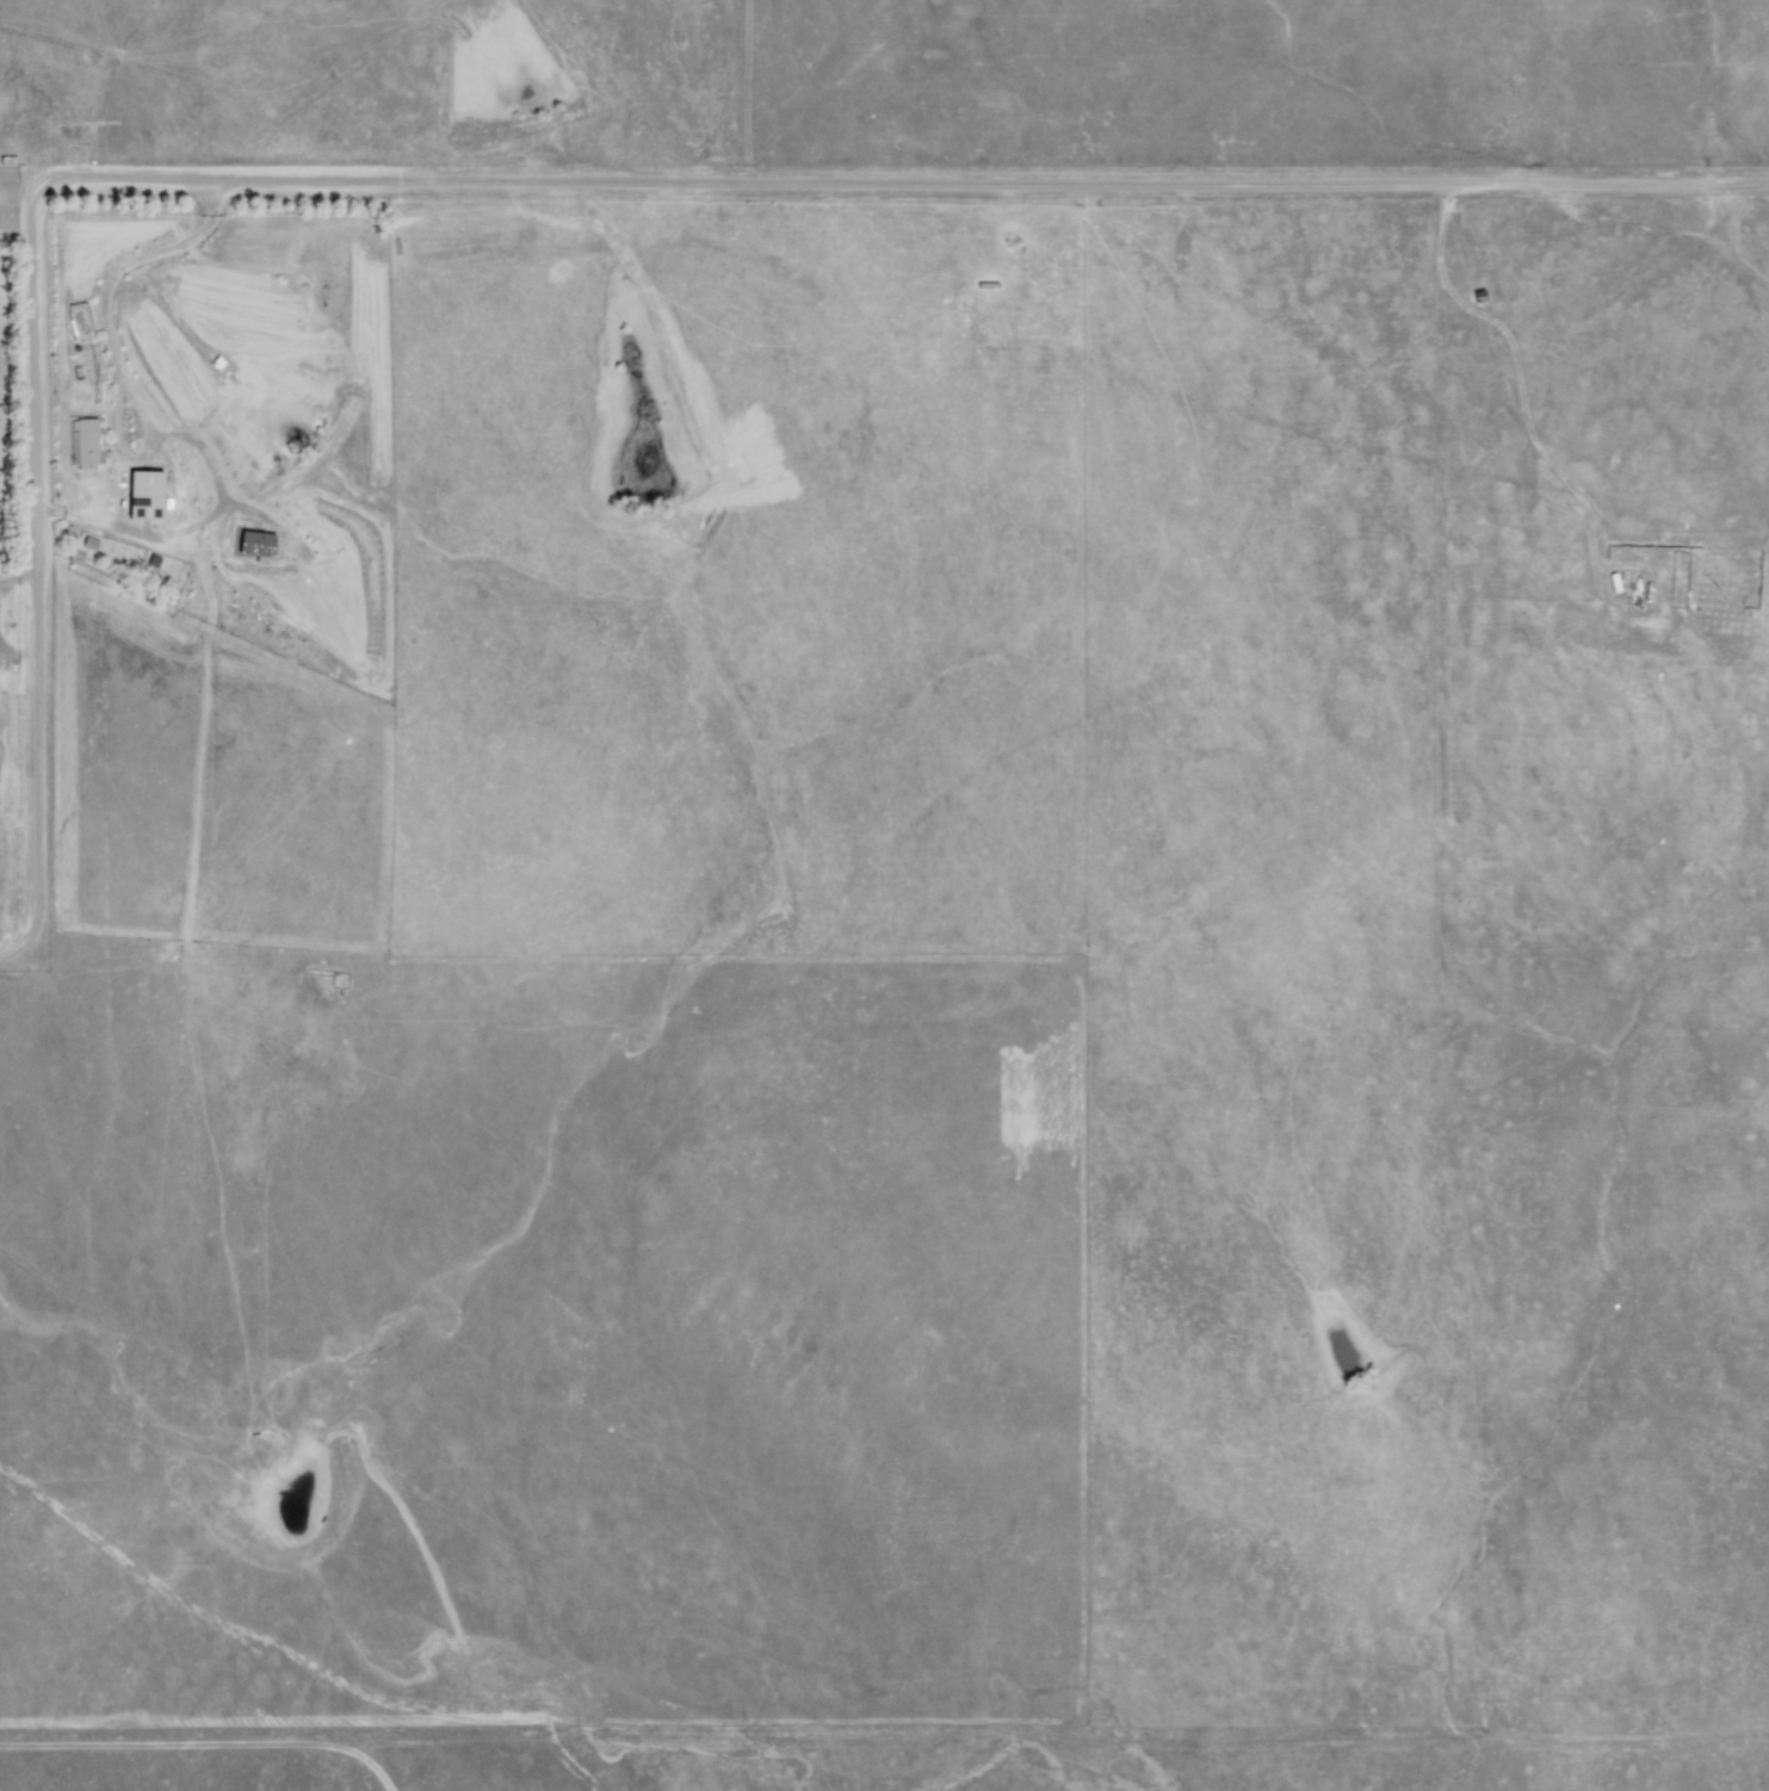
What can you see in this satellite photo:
road: (905, 180)
building: (252, 544)
road: (33, 574)
road: (884, 1739)

